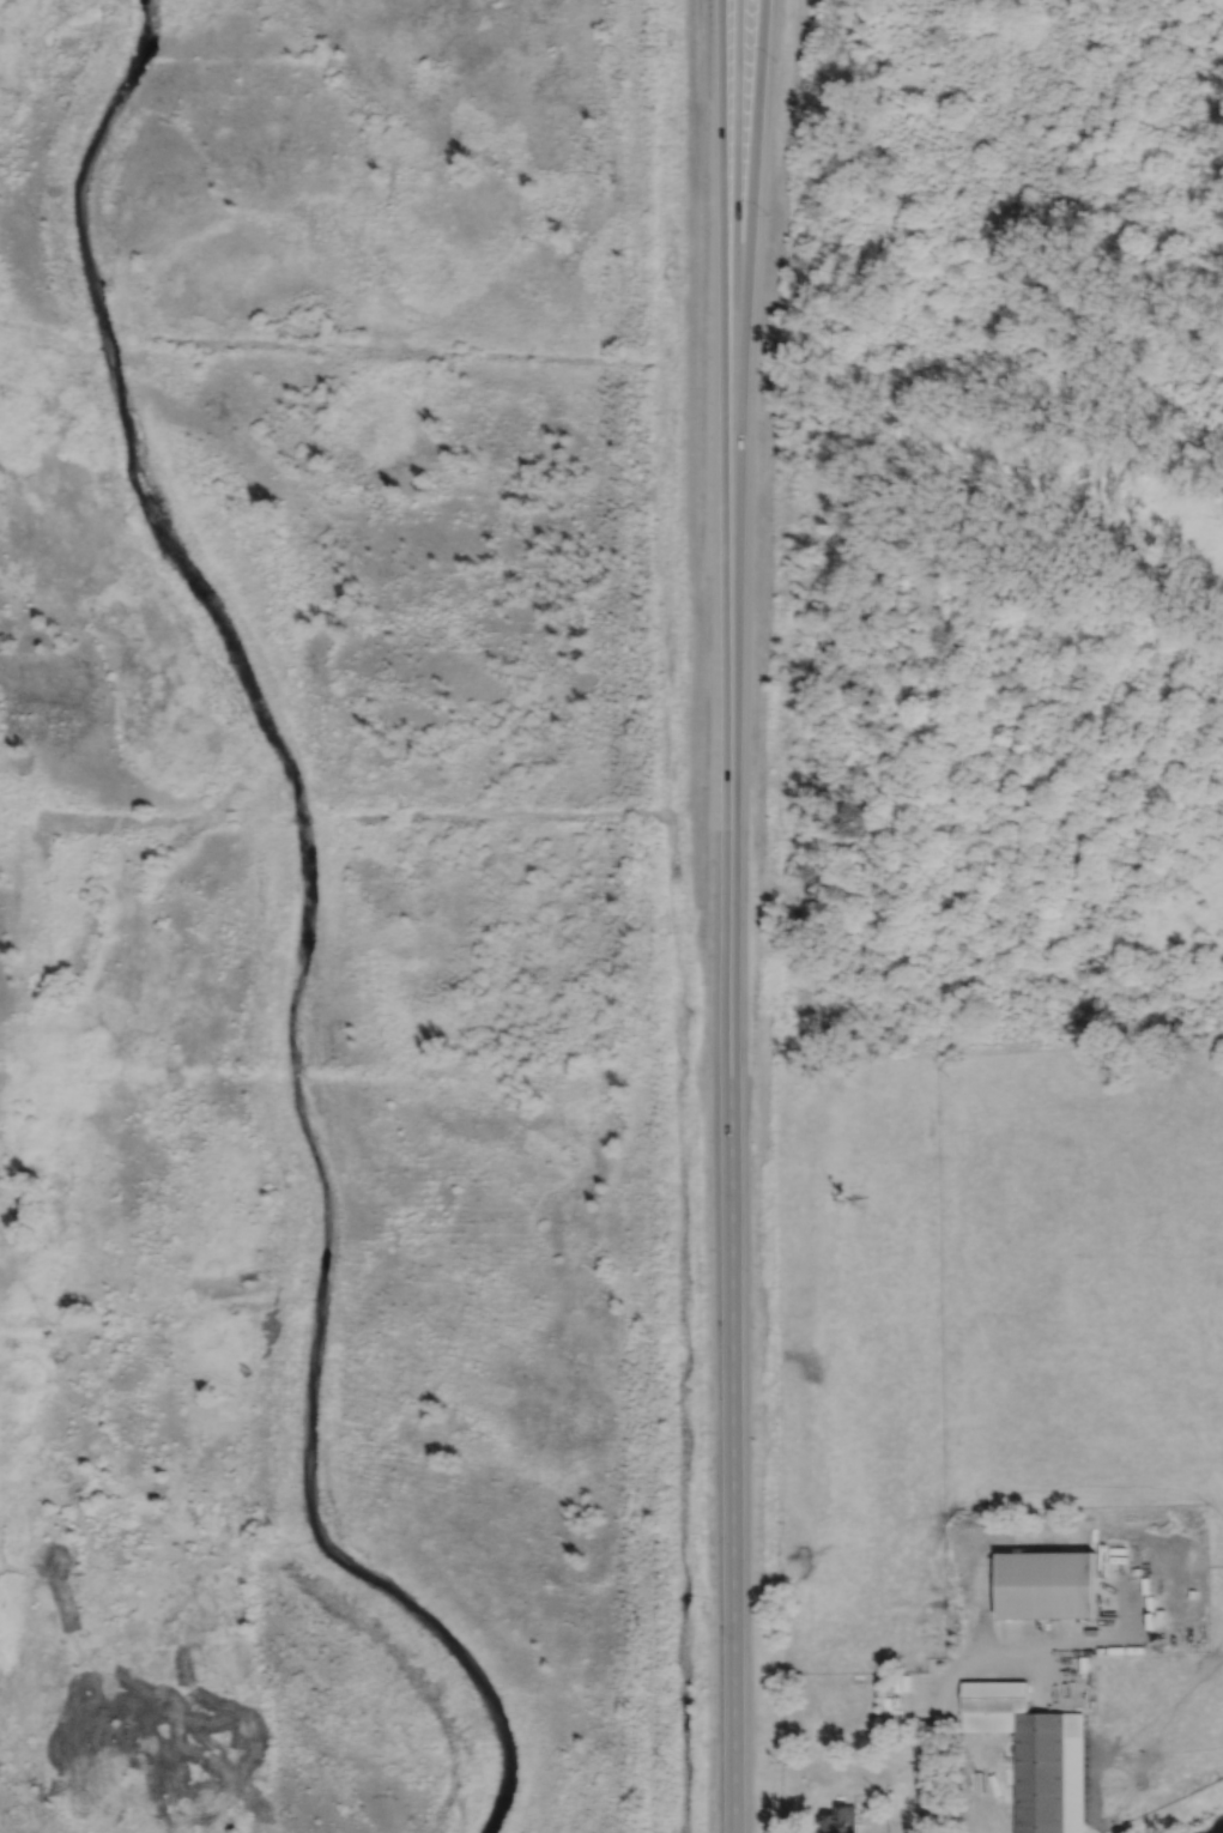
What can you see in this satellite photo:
road: (723, 289)
road: (737, 289)
road: (747, 289)
road: (732, 1205)
building: (1048, 1583)
road: (983, 1658)
building: (994, 1704)
building: (1048, 1772)
building: (838, 1820)

